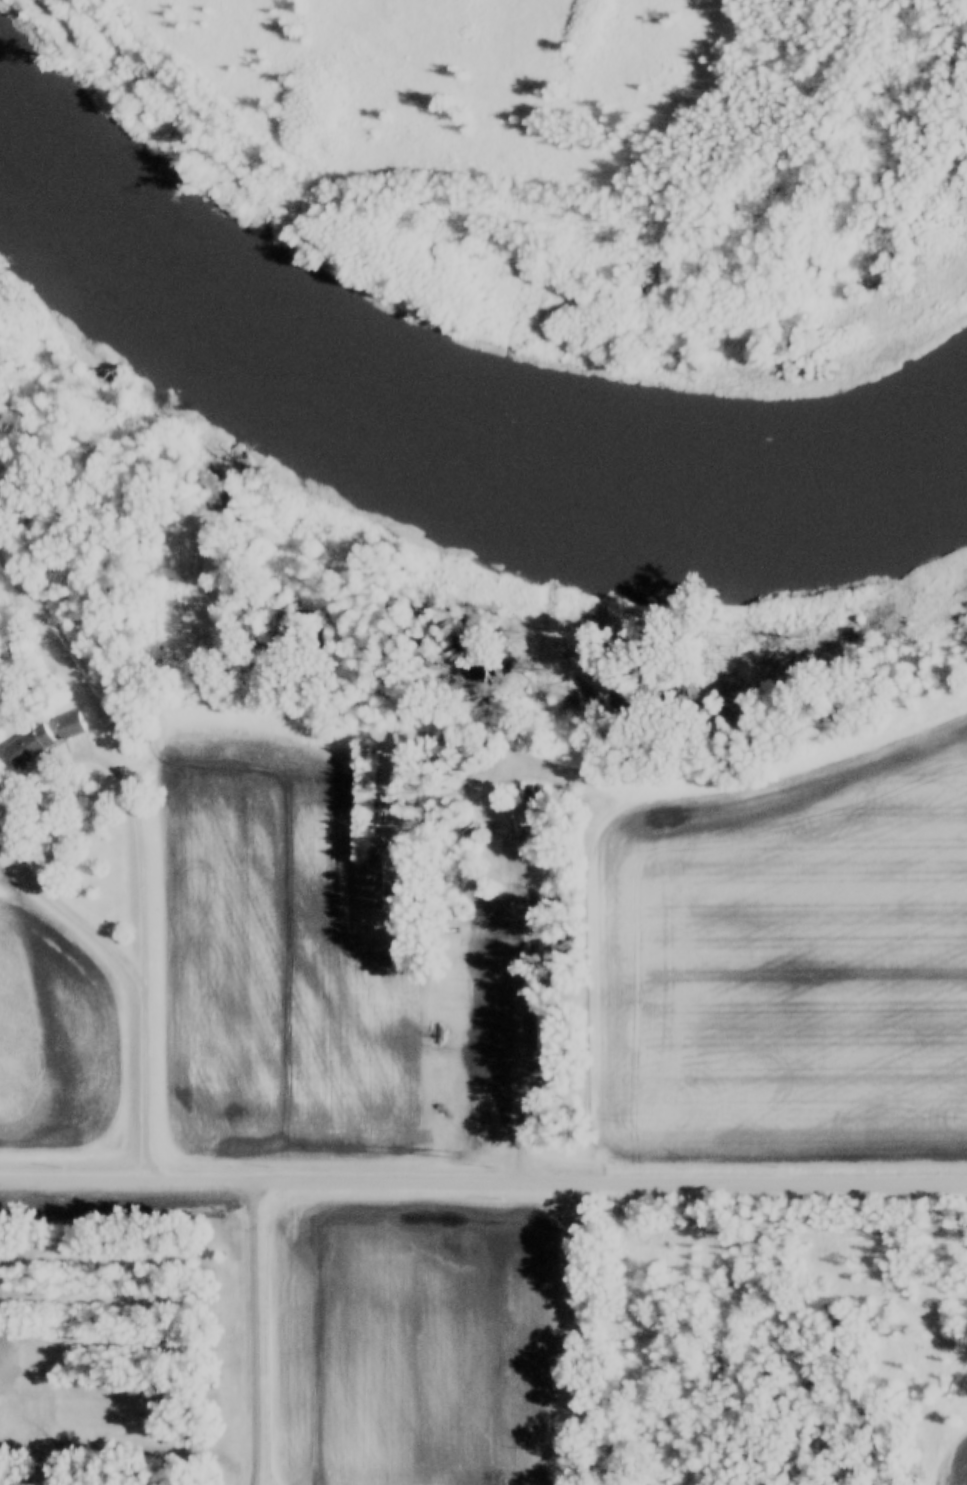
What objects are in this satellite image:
river: (459, 423)
road: (64, 661)
building: (69, 725)
building: (27, 746)
road: (126, 793)
building: (531, 795)
building: (367, 886)
road: (516, 995)
building: (551, 1030)
road: (483, 1177)
road: (248, 1331)
road: (570, 1331)
building: (8, 1453)

